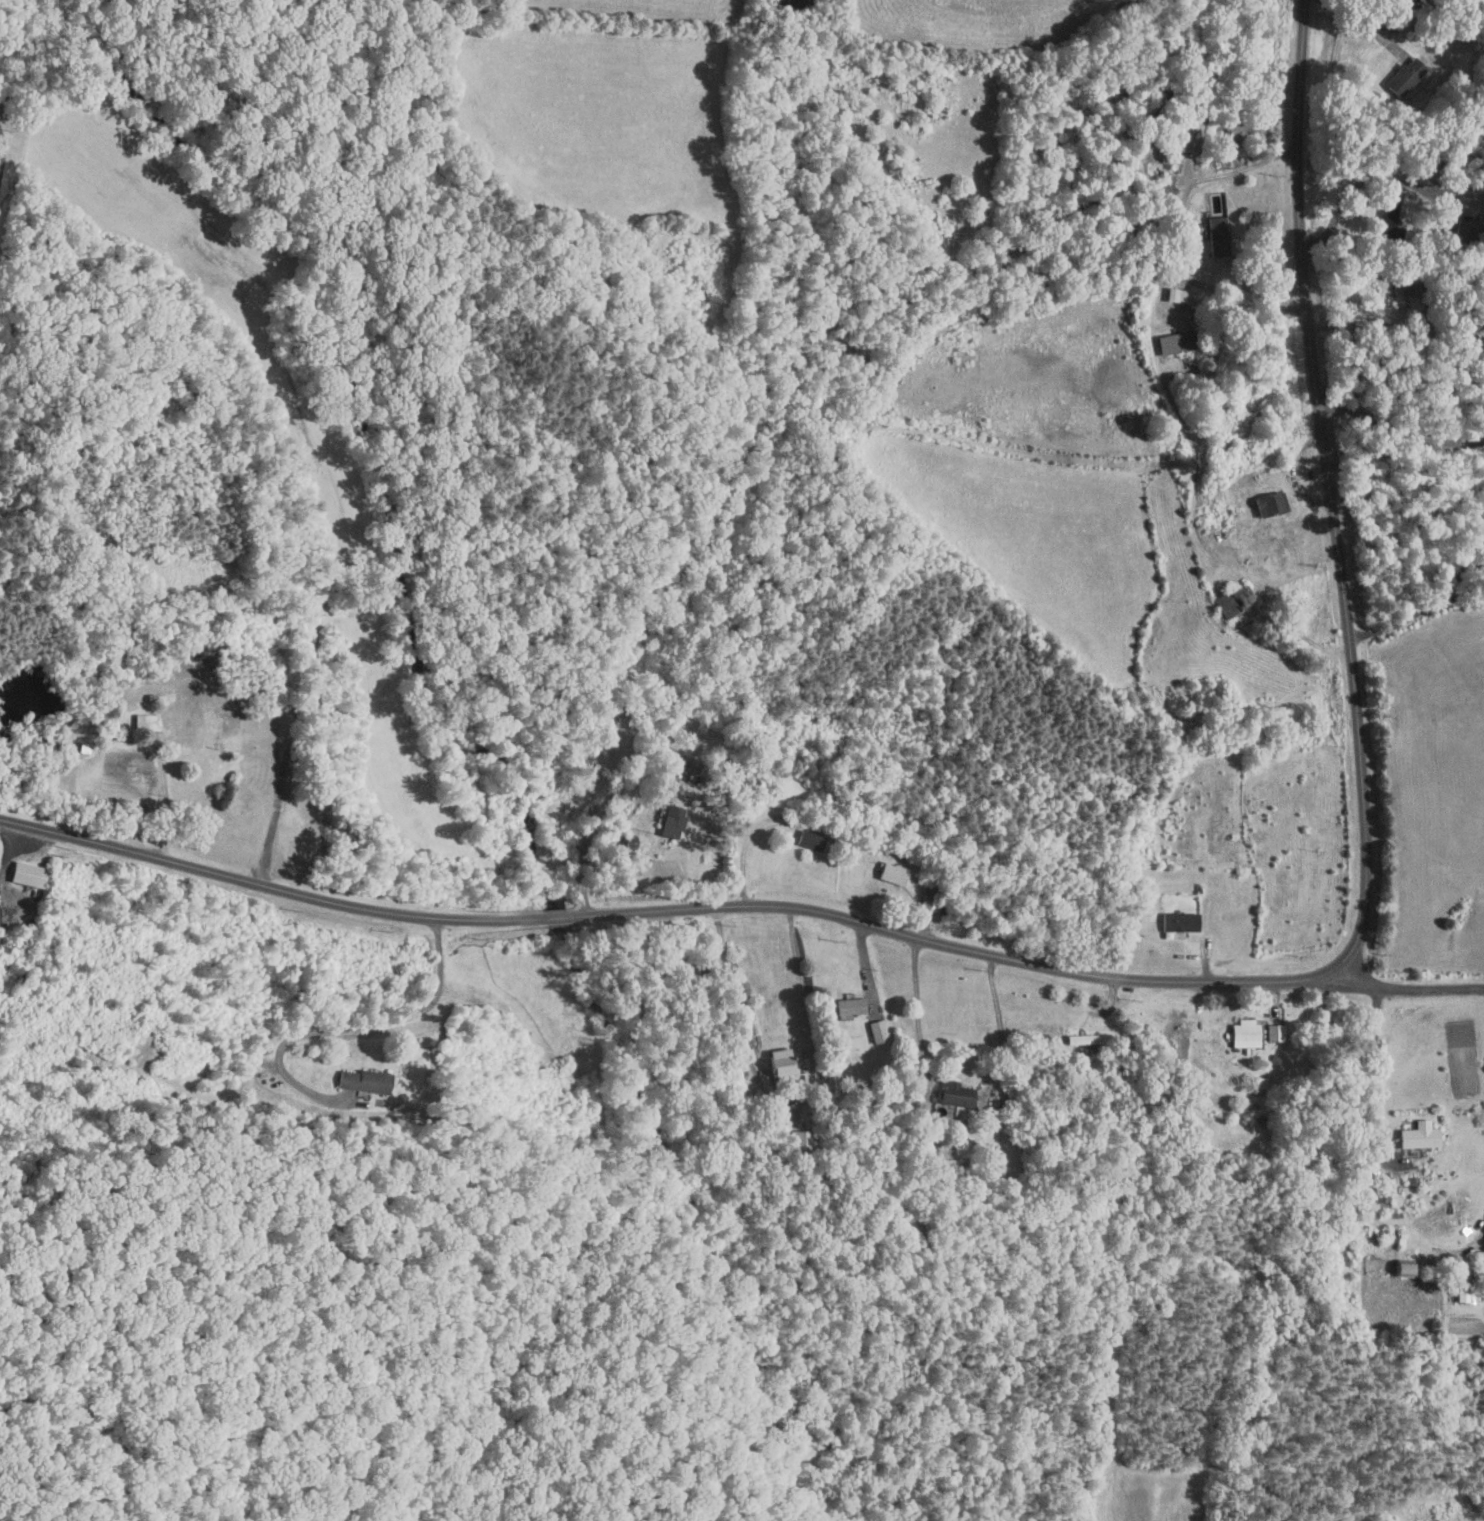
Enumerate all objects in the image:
road: (1413, 1)
road: (1360, 16)
building: (1404, 78)
building: (1188, 136)
road: (3, 143)
road: (1, 163)
building: (1391, 218)
building: (1456, 229)
road: (1179, 235)
building: (1217, 236)
building: (1398, 293)
building: (1176, 295)
building: (1138, 320)
building: (1176, 341)
road: (1396, 434)
building: (1269, 503)
building: (1483, 525)
road: (1461, 545)
road: (1462, 596)
building: (1231, 601)
road: (1396, 624)
building: (144, 721)
building: (181, 723)
building: (52, 739)
road: (163, 774)
road: (602, 810)
building: (670, 821)
building: (810, 840)
road: (744, 843)
building: (890, 873)
building: (24, 874)
road: (1364, 875)
road: (267, 886)
road: (554, 918)
building: (1178, 922)
road: (1403, 989)
building: (848, 1006)
road: (357, 1027)
building: (876, 1031)
building: (1273, 1033)
building: (1242, 1034)
building: (1088, 1039)
building: (777, 1065)
building: (361, 1081)
building: (1256, 1082)
building: (951, 1094)
road: (786, 1104)
road: (947, 1127)
building: (1416, 1138)
building: (799, 1140)
road: (1390, 1151)
building: (1380, 1194)
building: (1401, 1270)
building: (1463, 1296)

